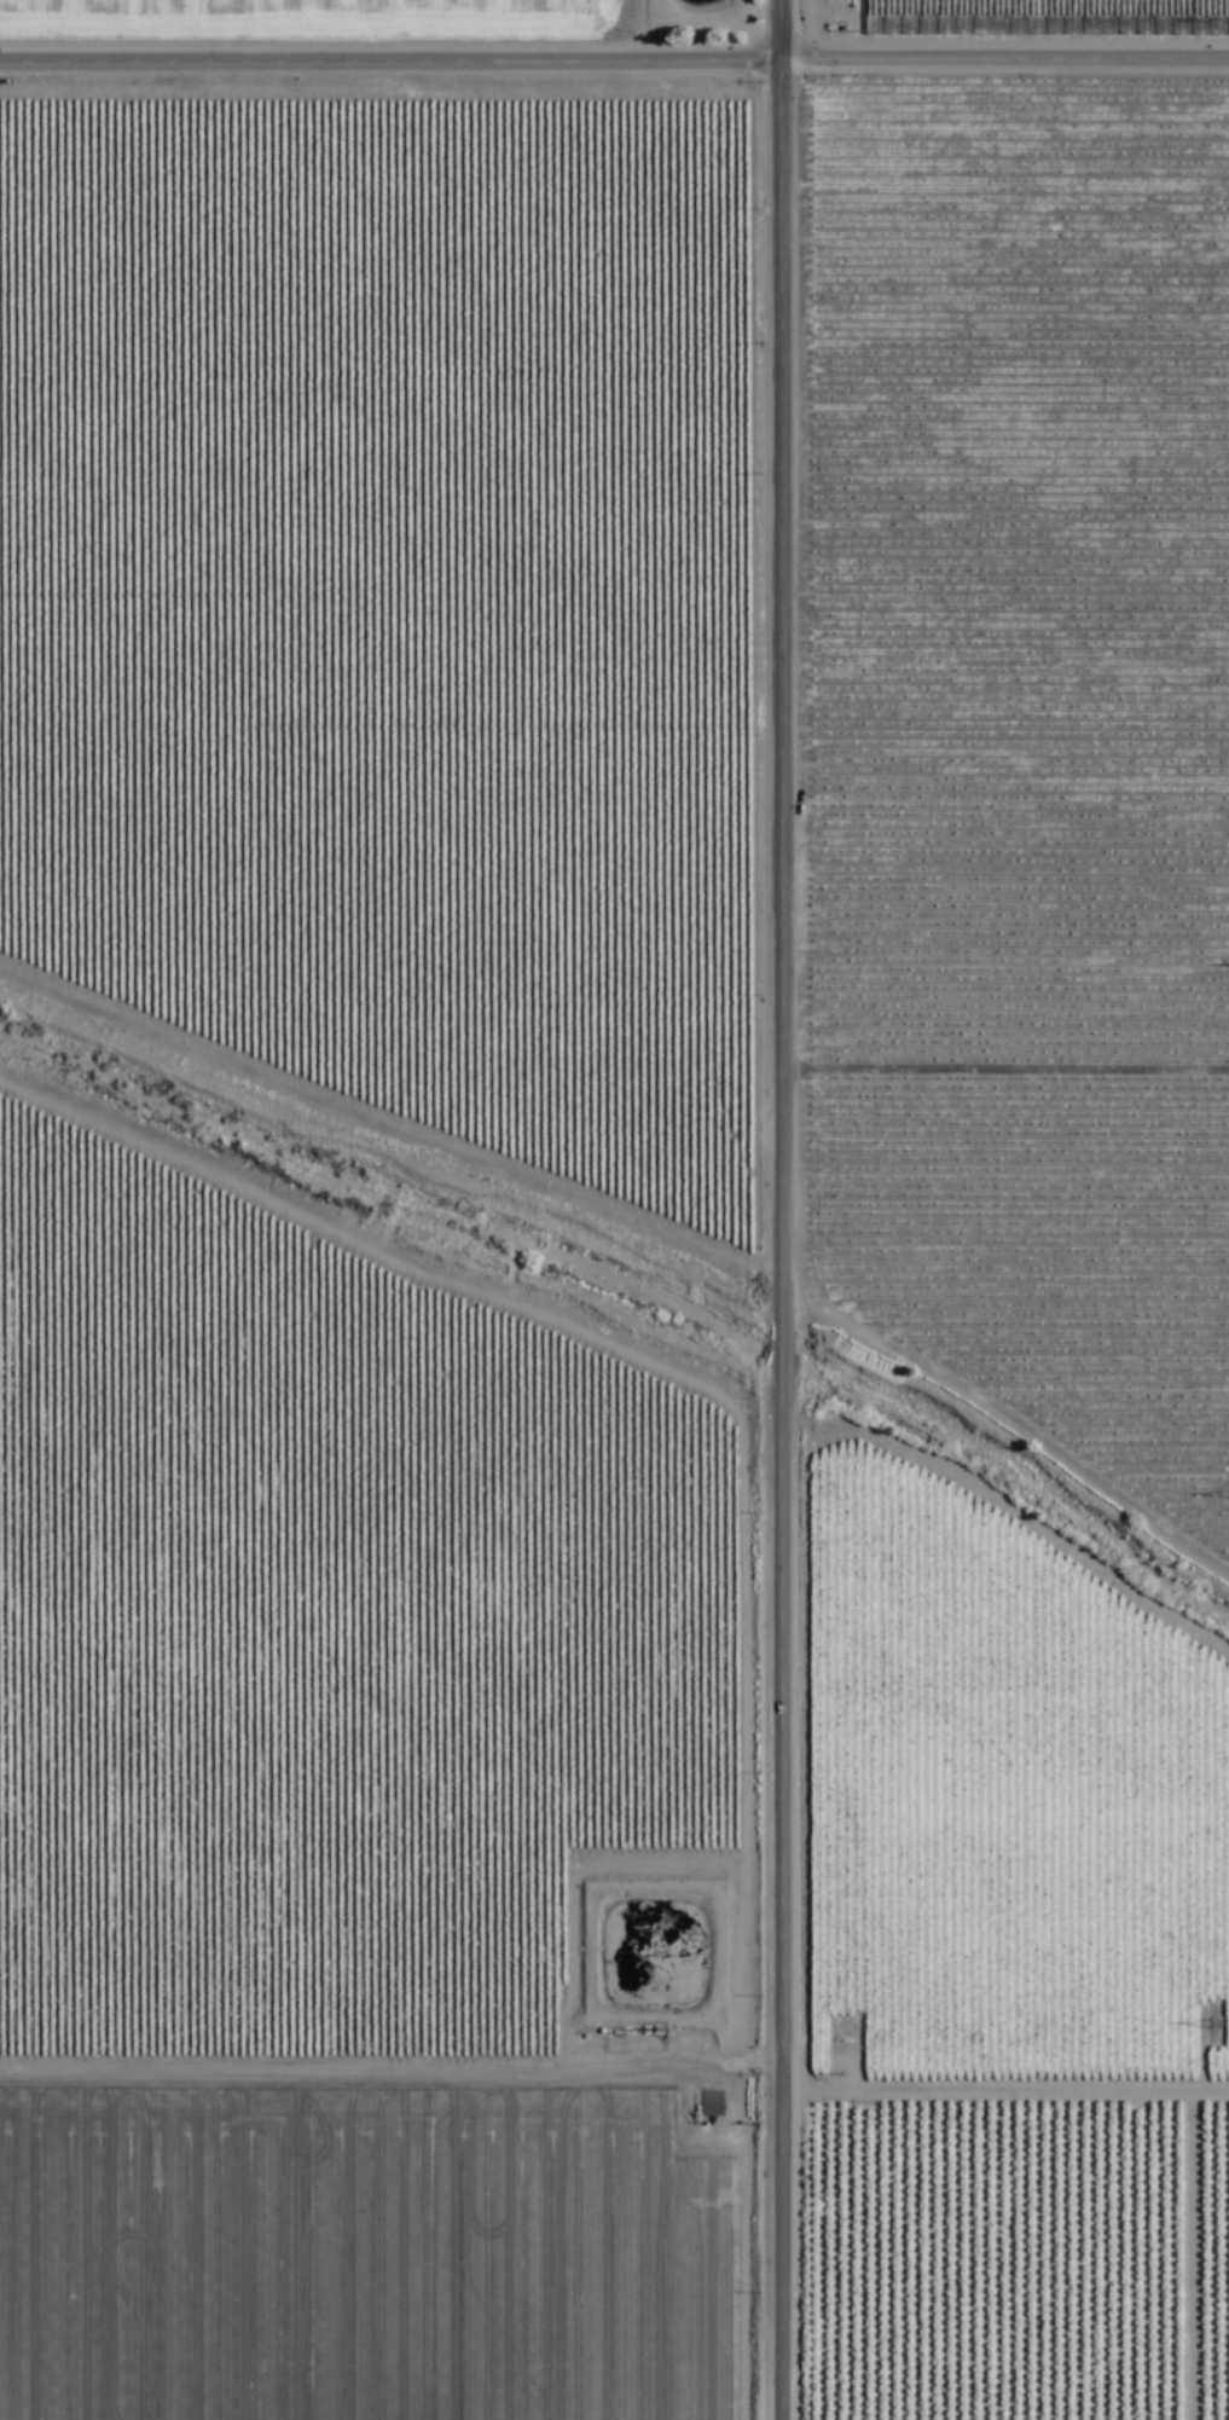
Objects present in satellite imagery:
road: (614, 54)
crop: (595, 1158)
road: (787, 1209)
power tower: (1216, 2028)
road: (614, 2059)

